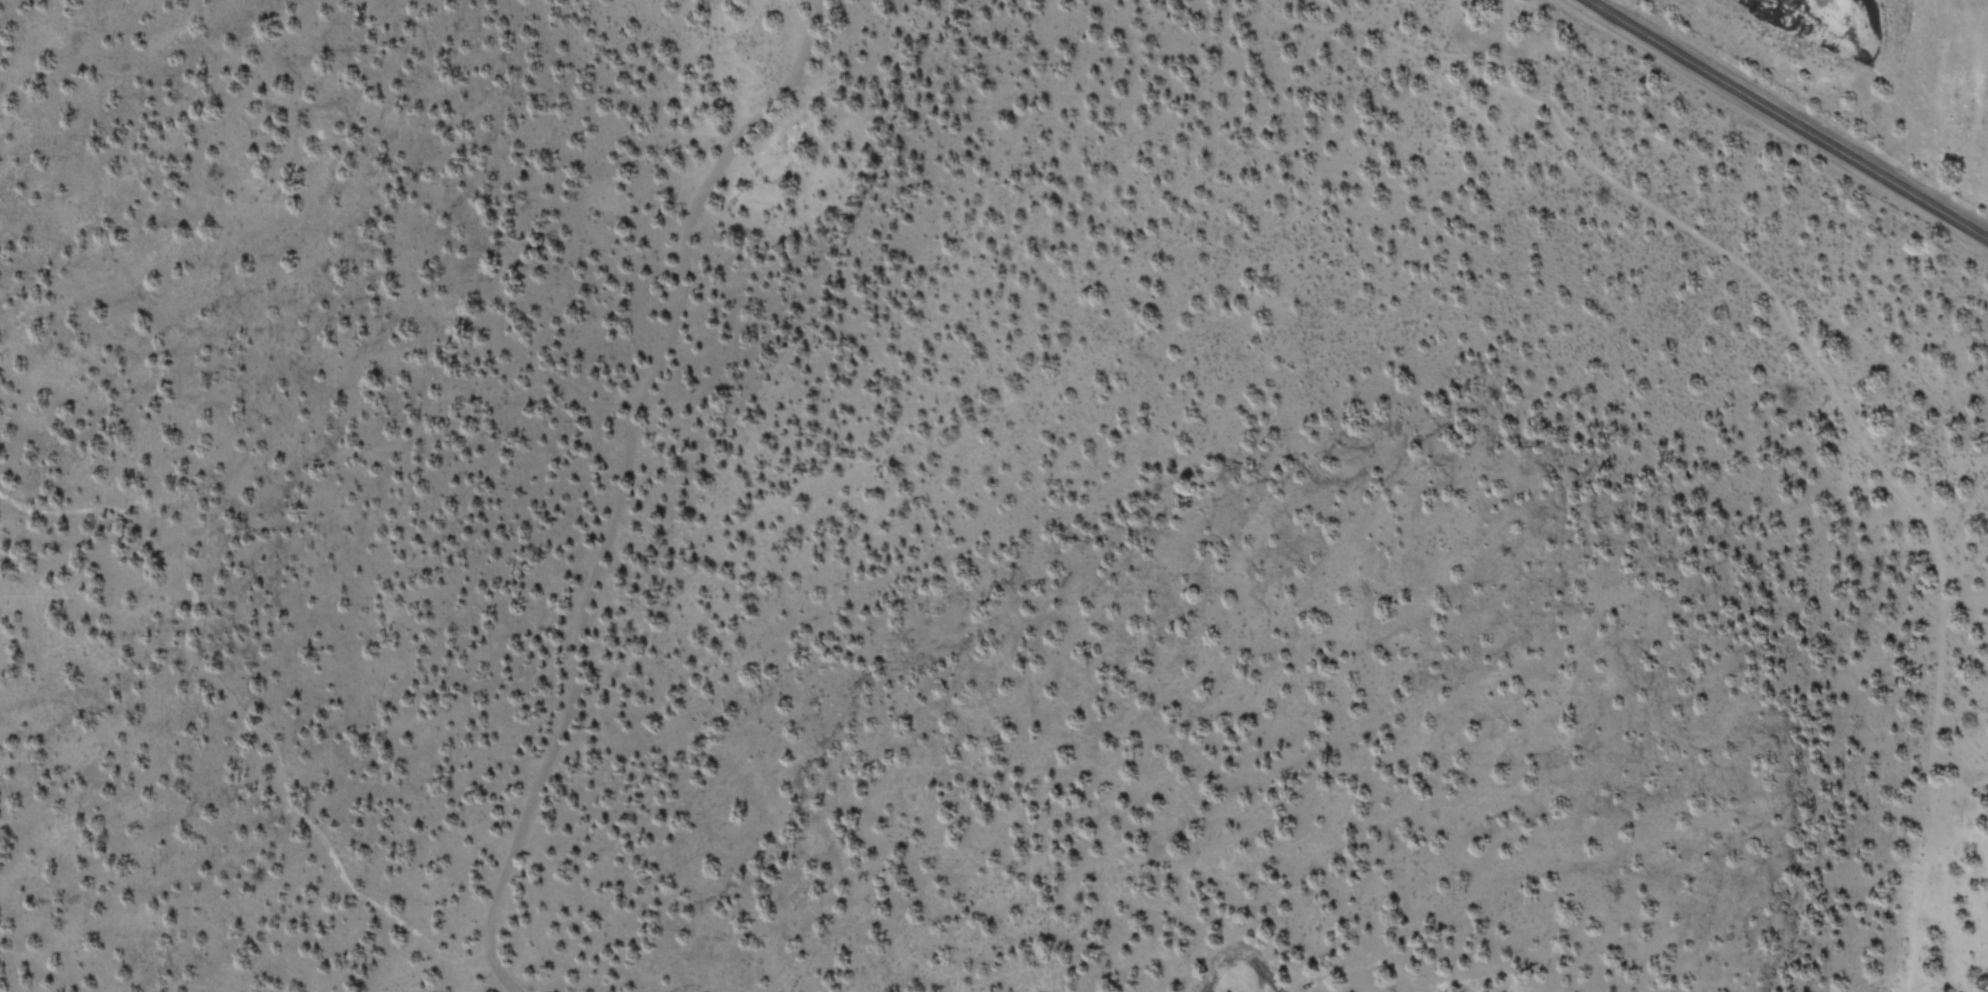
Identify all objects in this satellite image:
crop: (1901, 43)
road: (1786, 120)

